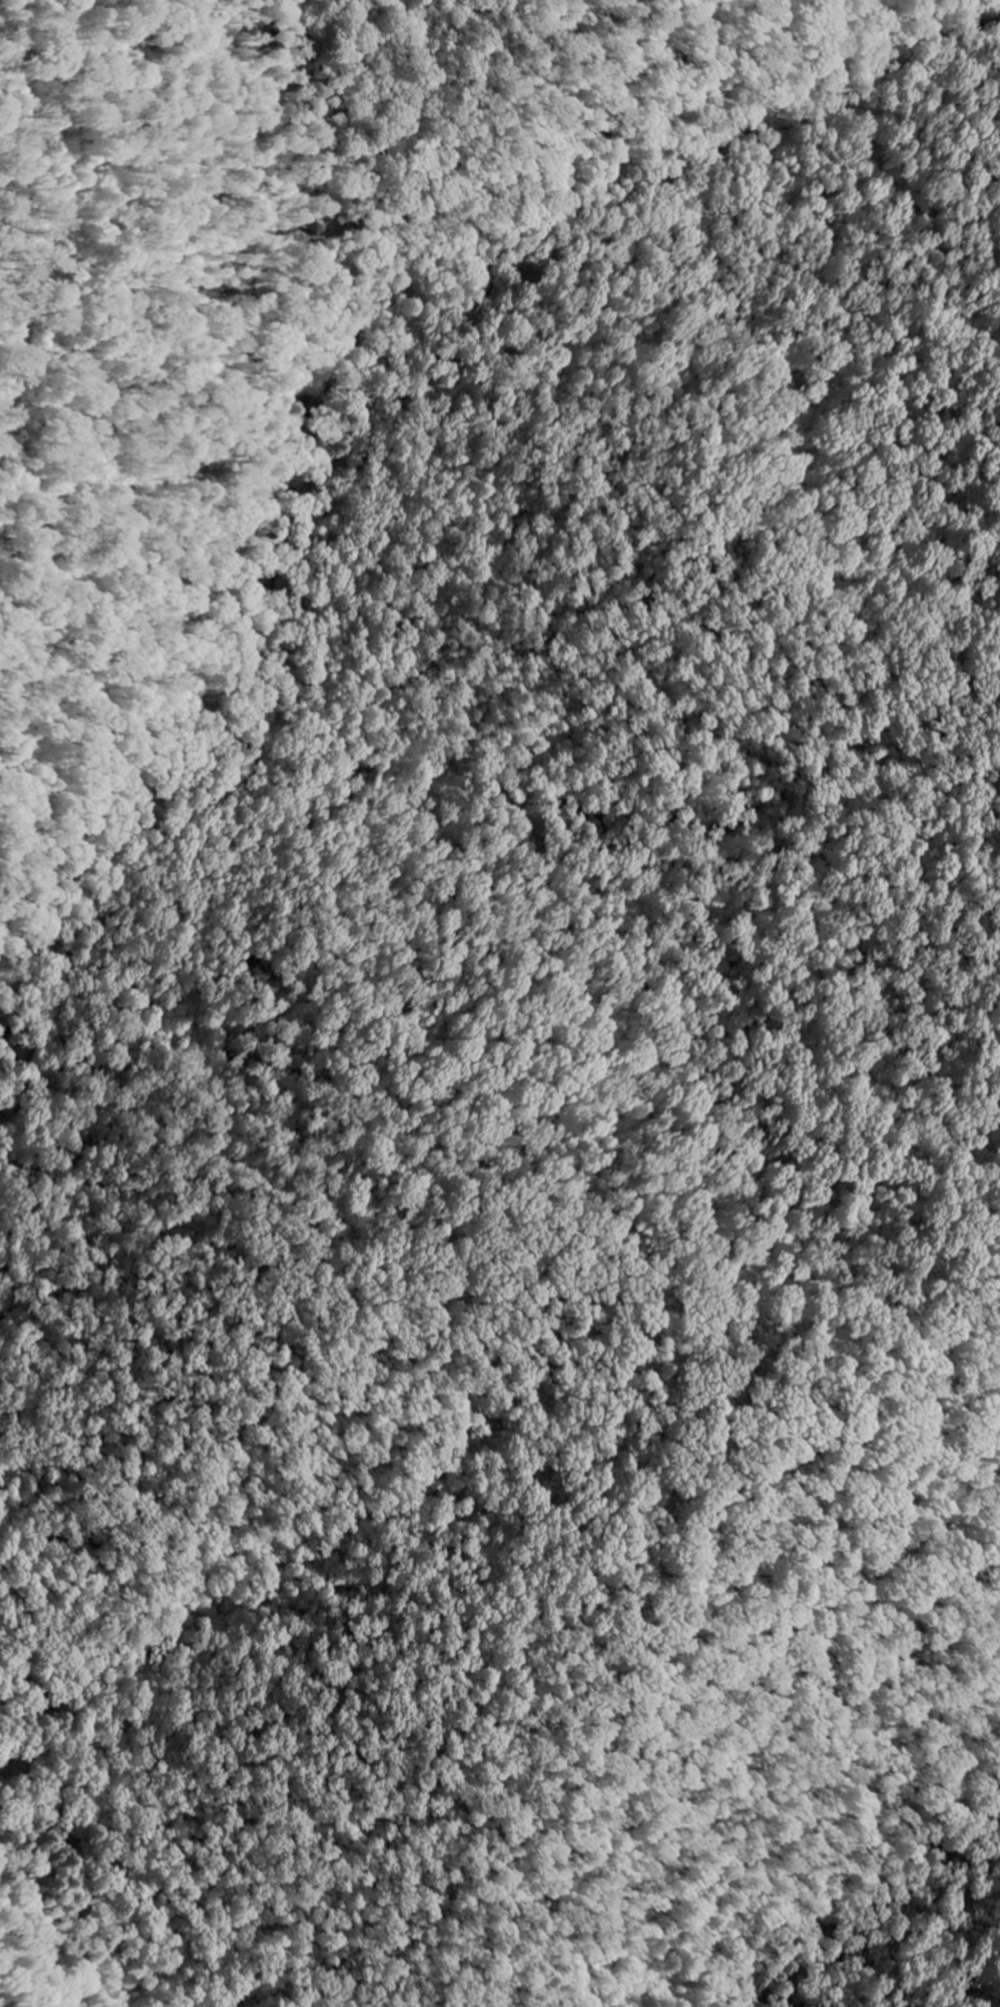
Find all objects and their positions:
road: (60, 263)
road: (174, 745)
road: (43, 1933)

